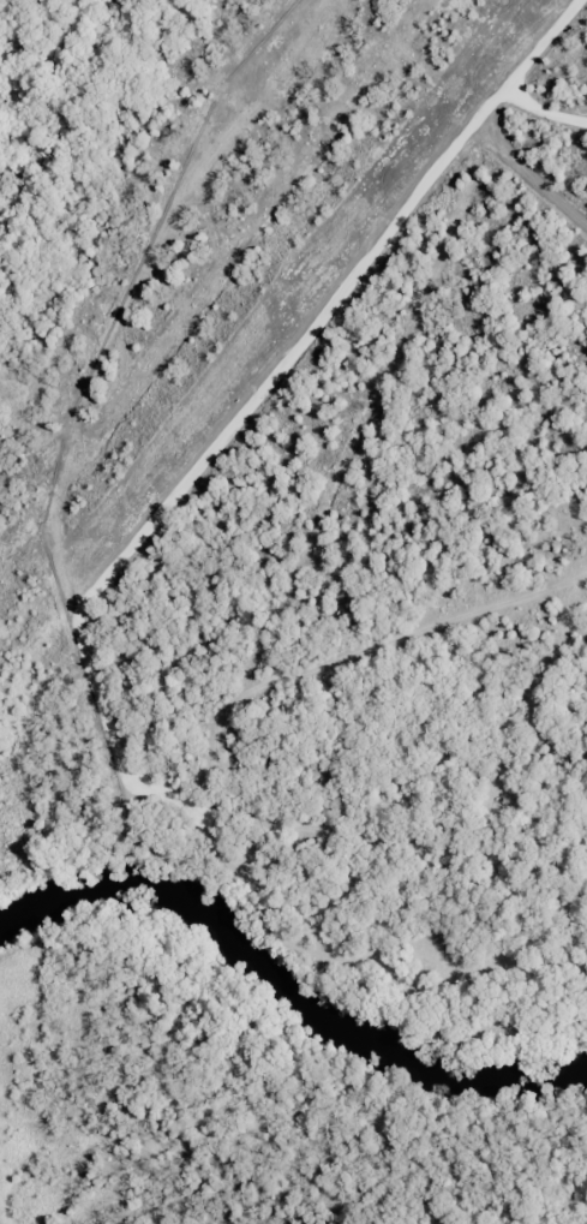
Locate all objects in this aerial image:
river: (280, 1002)

